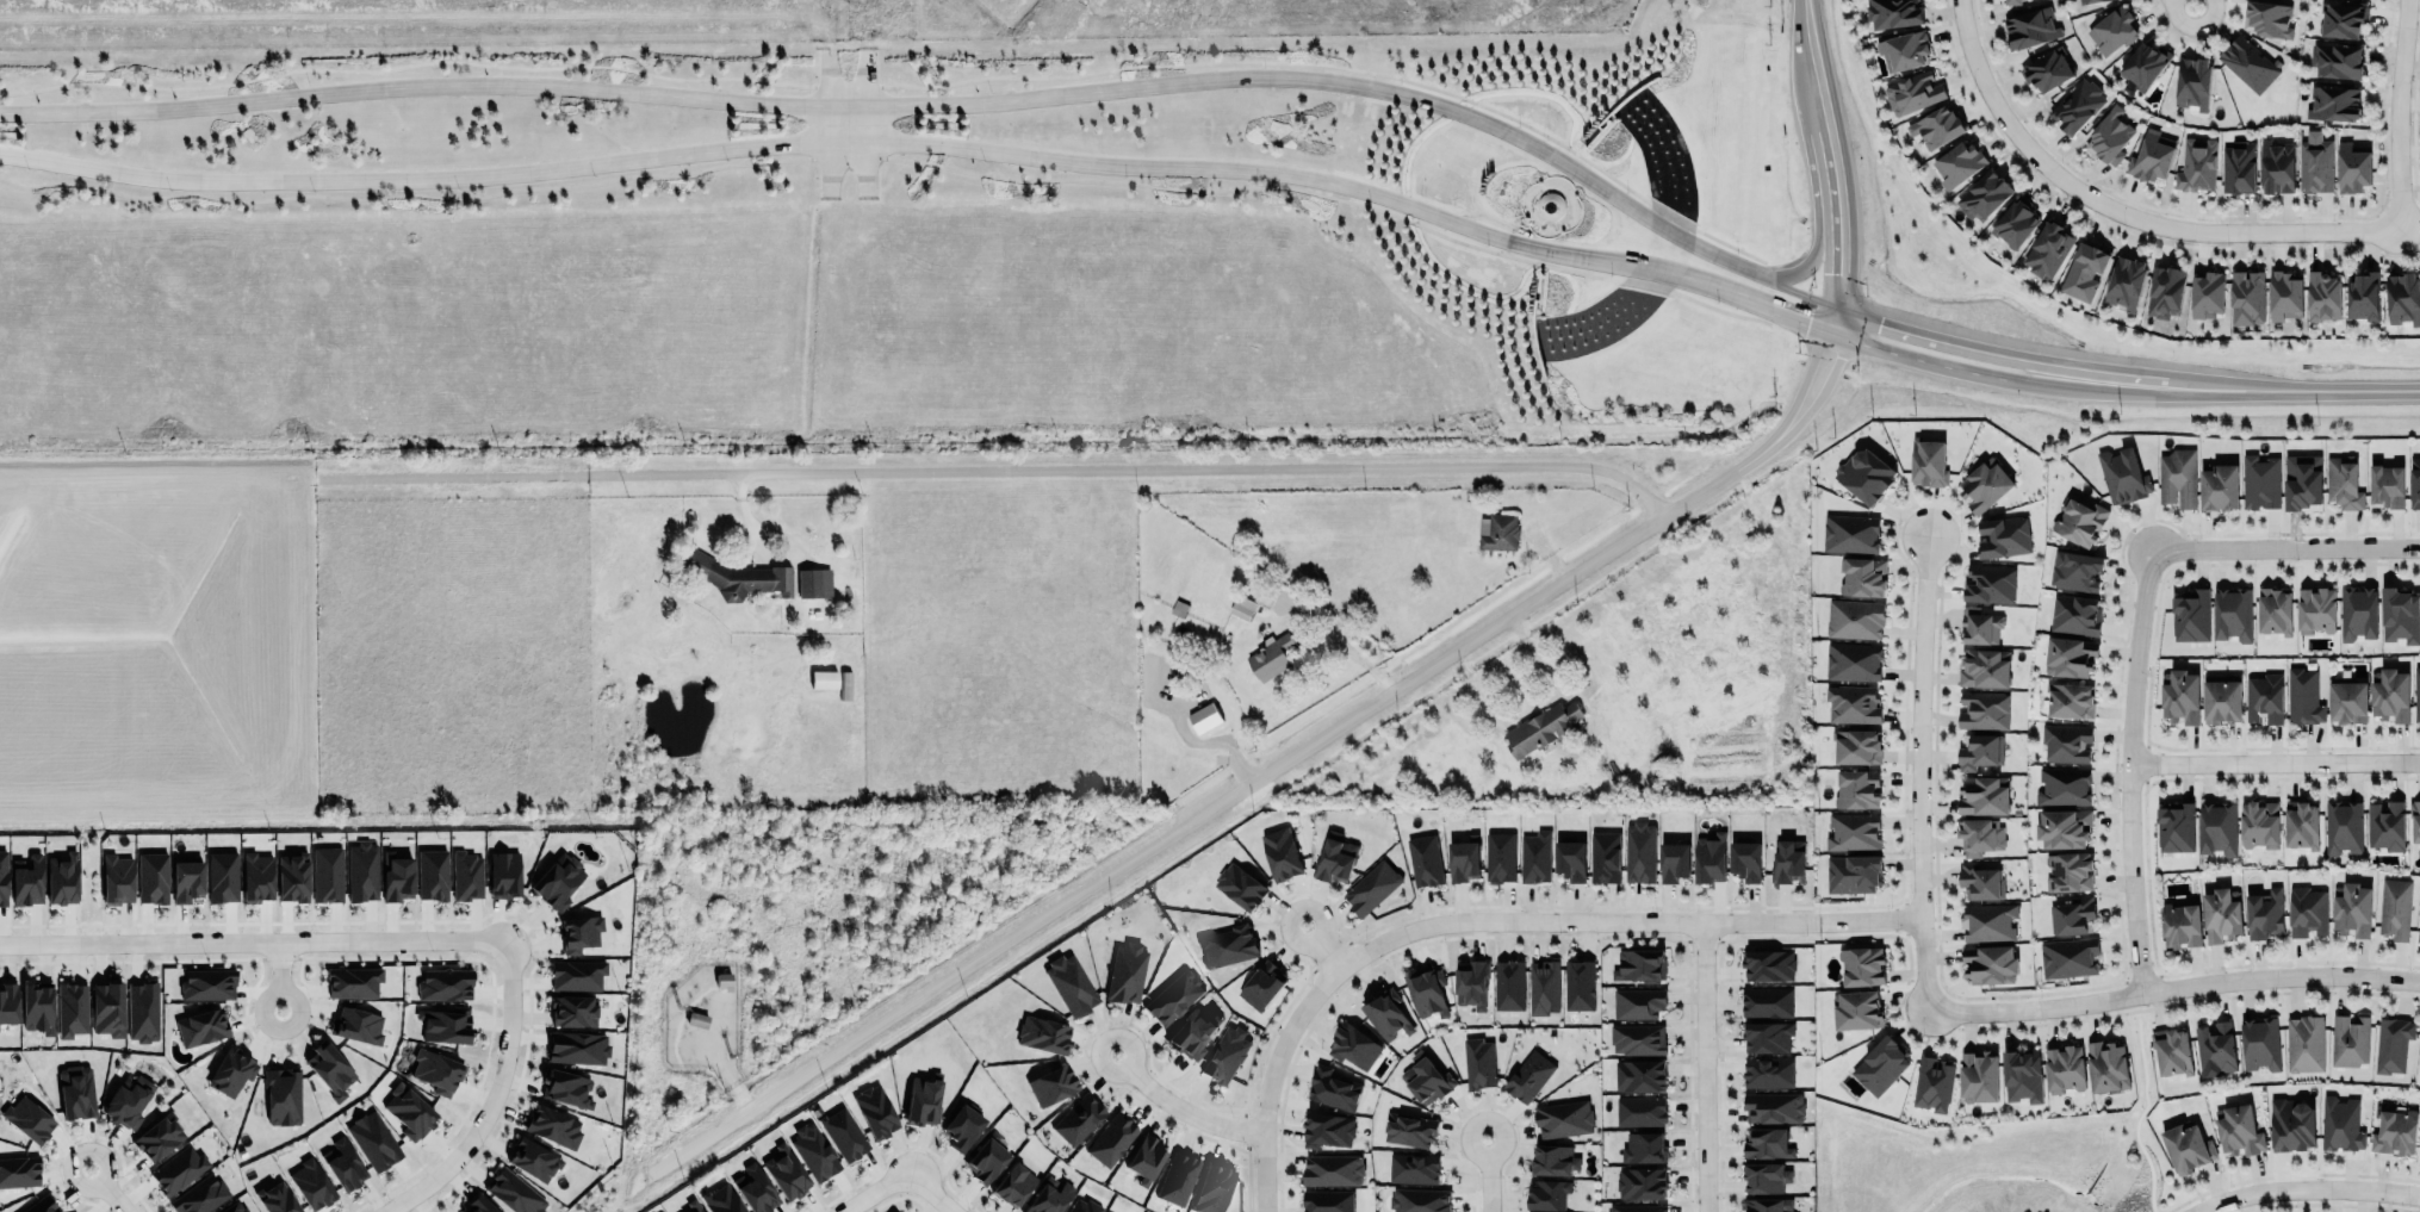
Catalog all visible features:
building: (2012, 1)
building: (2090, 1)
road: (2189, 7)
building: (1894, 13)
building: (2270, 18)
building: (2344, 19)
building: (2031, 29)
building: (2112, 30)
building: (1905, 50)
building: (2337, 60)
road: (1812, 61)
building: (2250, 63)
building: (2145, 64)
road: (405, 66)
road: (1344, 67)
building: (2047, 69)
building: (2192, 82)
road: (845, 85)
building: (1912, 92)
road: (945, 100)
road: (865, 102)
building: (2333, 102)
building: (2077, 106)
road: (2400, 114)
building: (1936, 128)
road: (868, 136)
building: (2110, 136)
road: (829, 141)
fountain: (1653, 153)
road: (845, 155)
building: (2152, 156)
building: (2197, 164)
building: (1959, 166)
building: (2316, 166)
building: (2238, 167)
building: (2277, 167)
building: (2352, 168)
road: (1831, 169)
road: (403, 193)
building: (1985, 195)
road: (1333, 199)
fountain: (1549, 206)
road: (2117, 215)
building: (2016, 222)
building: (2048, 250)
road: (1807, 260)
road: (1839, 261)
building: (2084, 271)
traffic signals: (1839, 273)
building: (2126, 284)
building: (2165, 291)
building: (2284, 293)
building: (2208, 294)
building: (2247, 296)
building: (2323, 296)
building: (2363, 296)
building: (2402, 298)
road: (1776, 311)
road: (1836, 319)
fountain: (1601, 322)
traffic signals: (1806, 322)
traffic signals: (1880, 322)
road: (1947, 341)
road: (1894, 353)
traffic signals: (1826, 355)
road: (2006, 379)
road: (2095, 380)
road: (2151, 386)
road: (2294, 391)
building: (1926, 460)
road: (1134, 465)
building: (1864, 472)
building: (2122, 476)
building: (2177, 478)
building: (2260, 481)
building: (1984, 483)
building: (2302, 483)
building: (2344, 483)
building: (2414, 483)
building: (2387, 485)
building: (2219, 487)
building: (2079, 518)
building: (1497, 532)
building: (1850, 532)
building: (2002, 535)
road: (2281, 554)
building: (2075, 568)
building: (1861, 574)
building: (737, 576)
building: (812, 582)
building: (1990, 582)
building: (1242, 607)
building: (2315, 608)
building: (2275, 610)
building: (2232, 611)
building: (2074, 613)
building: (2358, 613)
building: (2397, 613)
building: (2190, 614)
building: (1854, 617)
building: (1979, 623)
building: (2067, 653)
building: (1271, 657)
building: (1853, 661)
building: (1984, 666)
building: (823, 679)
building: (2416, 692)
building: (2180, 694)
building: (2391, 695)
building: (2303, 696)
building: (2071, 698)
building: (2264, 698)
building: (2222, 700)
building: (2347, 701)
building: (1853, 702)
building: (1984, 709)
building: (1204, 717)
building: (1540, 728)
building: (2066, 740)
building: (1857, 746)
building: (1980, 750)
road: (2275, 759)
road: (1265, 773)
road: (2129, 773)
building: (2064, 784)
road: (1918, 788)
building: (1857, 789)
building: (1984, 794)
building: (2414, 820)
building: (2301, 822)
building: (2259, 823)
building: (2387, 823)
building: (2062, 826)
building: (2174, 827)
building: (2217, 827)
building: (2343, 827)
building: (1853, 829)
building: (1979, 834)
building: (1640, 851)
building: (1280, 853)
building: (1709, 856)
building: (1500, 857)
building: (1534, 857)
building: (1605, 857)
building: (1673, 858)
building: (1746, 858)
building: (1334, 859)
building: (1425, 859)
building: (1463, 859)
building: (1570, 859)
building: (1787, 859)
building: (361, 870)
building: (1851, 871)
building: (2068, 871)
building: (502, 872)
building: (255, 874)
building: (325, 874)
building: (395, 875)
building: (433, 875)
building: (467, 875)
building: (114, 876)
building: (219, 876)
building: (150, 877)
building: (1, 878)
building: (292, 878)
building: (26, 880)
building: (61, 880)
building: (185, 880)
building: (558, 881)
building: (1980, 882)
building: (1241, 884)
building: (1371, 885)
building: (2352, 907)
building: (2395, 907)
building: (2307, 910)
building: (2221, 913)
building: (2264, 913)
building: (2074, 915)
building: (1990, 920)
building: (2182, 922)
building: (2418, 922)
road: (1491, 925)
building: (579, 928)
road: (255, 940)
building: (1228, 944)
road: (1318, 945)
building: (2068, 957)
building: (1990, 962)
building: (1638, 963)
building: (1768, 965)
building: (1862, 965)
building: (575, 972)
building: (1125, 972)
road: (279, 975)
building: (350, 980)
building: (722, 981)
building: (1069, 983)
building: (1262, 983)
building: (207, 984)
building: (445, 984)
building: (1471, 984)
building: (1508, 984)
building: (1578, 984)
building: (1543, 986)
road: (2171, 987)
building: (1427, 989)
building: (1174, 995)
building: (8, 1001)
building: (1767, 1001)
building: (1638, 1003)
building: (106, 1006)
building: (37, 1007)
building: (571, 1007)
building: (70, 1008)
building: (1856, 1008)
building: (141, 1011)
building: (1386, 1014)
building: (356, 1025)
building: (445, 1025)
building: (199, 1026)
building: (1192, 1031)
building: (1043, 1034)
building: (1767, 1034)
building: (1638, 1037)
building: (2350, 1039)
building: (2259, 1043)
building: (2303, 1043)
building: (1353, 1044)
building: (2393, 1044)
building: (575, 1045)
building: (2215, 1048)
building: (2173, 1050)
building: (1225, 1053)
building: (1478, 1062)
building: (2419, 1063)
building: (1880, 1064)
building: (2106, 1064)
building: (329, 1067)
building: (2065, 1067)
road: (1706, 1069)
building: (435, 1070)
building: (1768, 1070)
building: (2419, 1070)
building: (231, 1071)
building: (1638, 1073)
building: (2022, 1073)
building: (1529, 1075)
building: (1978, 1075)
building: (1426, 1077)
building: (1932, 1082)
building: (1051, 1084)
building: (1330, 1087)
building: (566, 1088)
building: (74, 1089)
building: (280, 1094)
road: (492, 1096)
building: (126, 1098)
building: (923, 1101)
road: (1178, 1104)
building: (1774, 1106)
building: (408, 1110)
building: (874, 1111)
building: (1640, 1111)
building: (27, 1117)
building: (1563, 1117)
building: (1076, 1118)
building: (550, 1123)
building: (2290, 1123)
building: (2340, 1123)
building: (962, 1127)
building: (1409, 1129)
building: (2238, 1129)
building: (1327, 1130)
building: (2394, 1131)
building: (840, 1133)
building: (159, 1137)
building: (1110, 1137)
building: (373, 1140)
building: (1767, 1142)
building: (2186, 1145)
building: (1644, 1146)
building: (811, 1150)
building: (1144, 1156)
building: (532, 1157)
building: (1552, 1157)
building: (985, 1160)
building: (343, 1163)
building: (1410, 1166)
building: (19, 1169)
building: (178, 1169)
building: (1332, 1169)
building: (786, 1174)
building: (1764, 1174)
road: (1484, 1175)
building: (1177, 1177)
building: (1640, 1182)
building: (311, 1183)
building: (1013, 1183)
road: (106, 1188)
building: (756, 1188)
building: (1211, 1188)
building: (513, 1192)
road: (877, 1192)
road: (931, 1192)
building: (1547, 1193)
road: (2306, 1193)
building: (198, 1195)
building: (1048, 1195)
building: (277, 1198)
building: (721, 1199)
building: (1328, 1200)
building: (1419, 1200)
building: (38, 1204)
building: (478, 1204)
building: (1767, 1204)
building: (1084, 1205)
building: (235, 1207)
building: (1636, 1207)
building: (695, 1208)
building: (1550, 1211)

